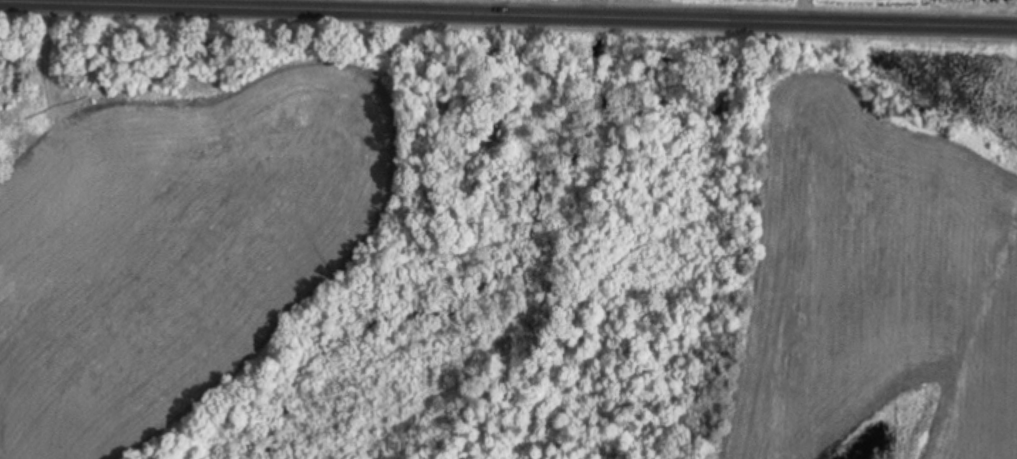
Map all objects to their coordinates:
road: (527, 6)
road: (559, 13)
crop: (184, 251)
crop: (880, 292)

